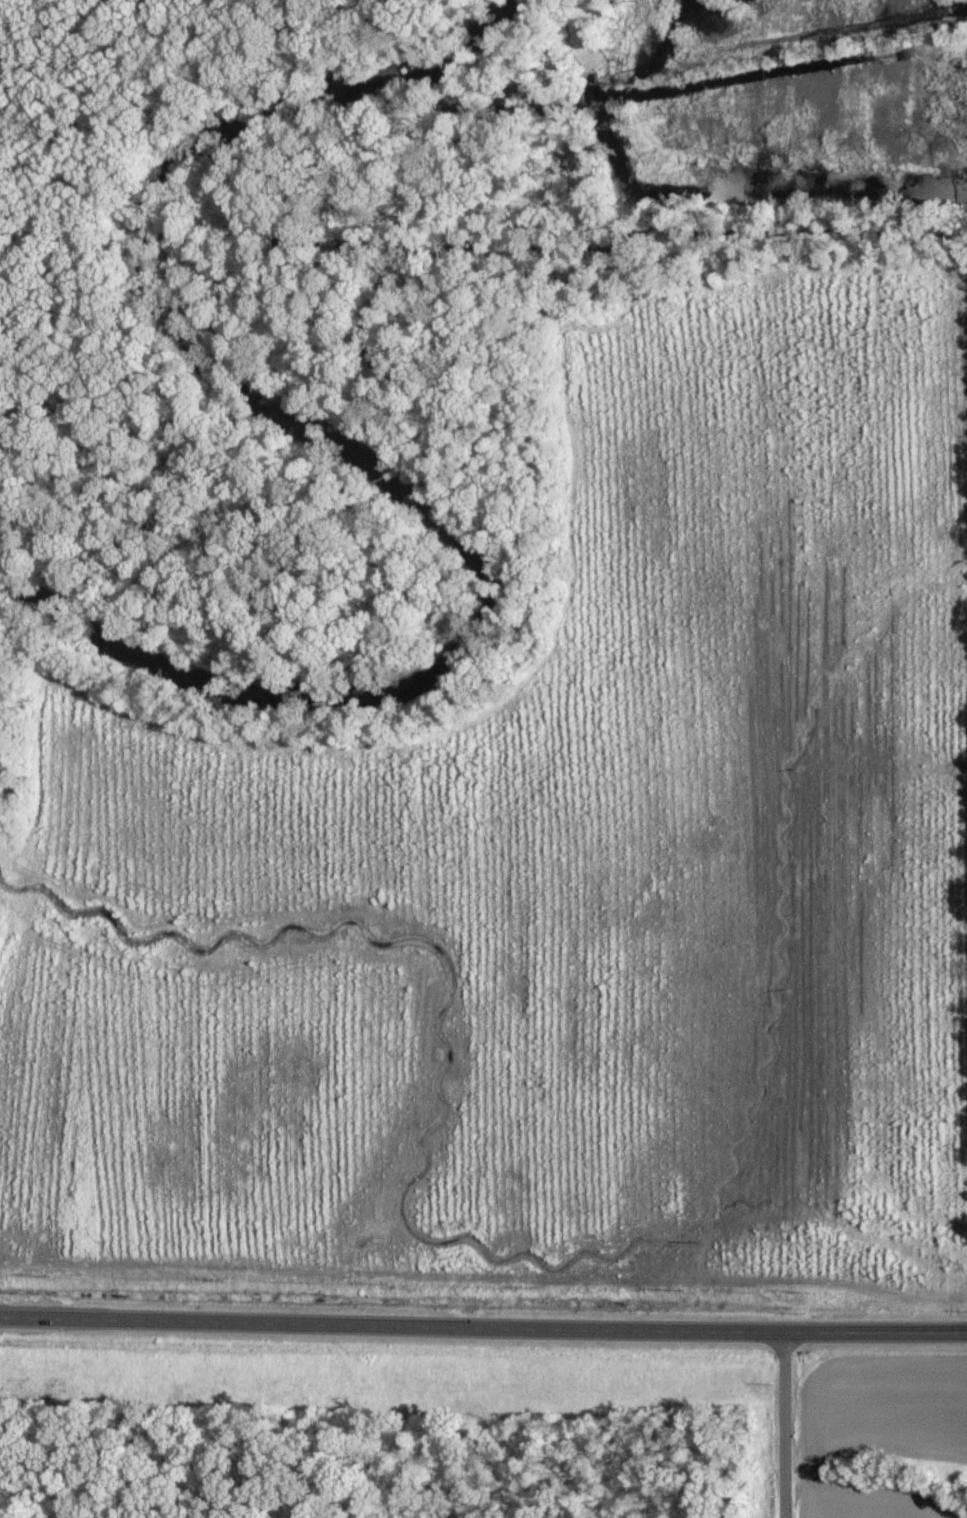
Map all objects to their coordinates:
road: (483, 1320)
road: (788, 1423)

